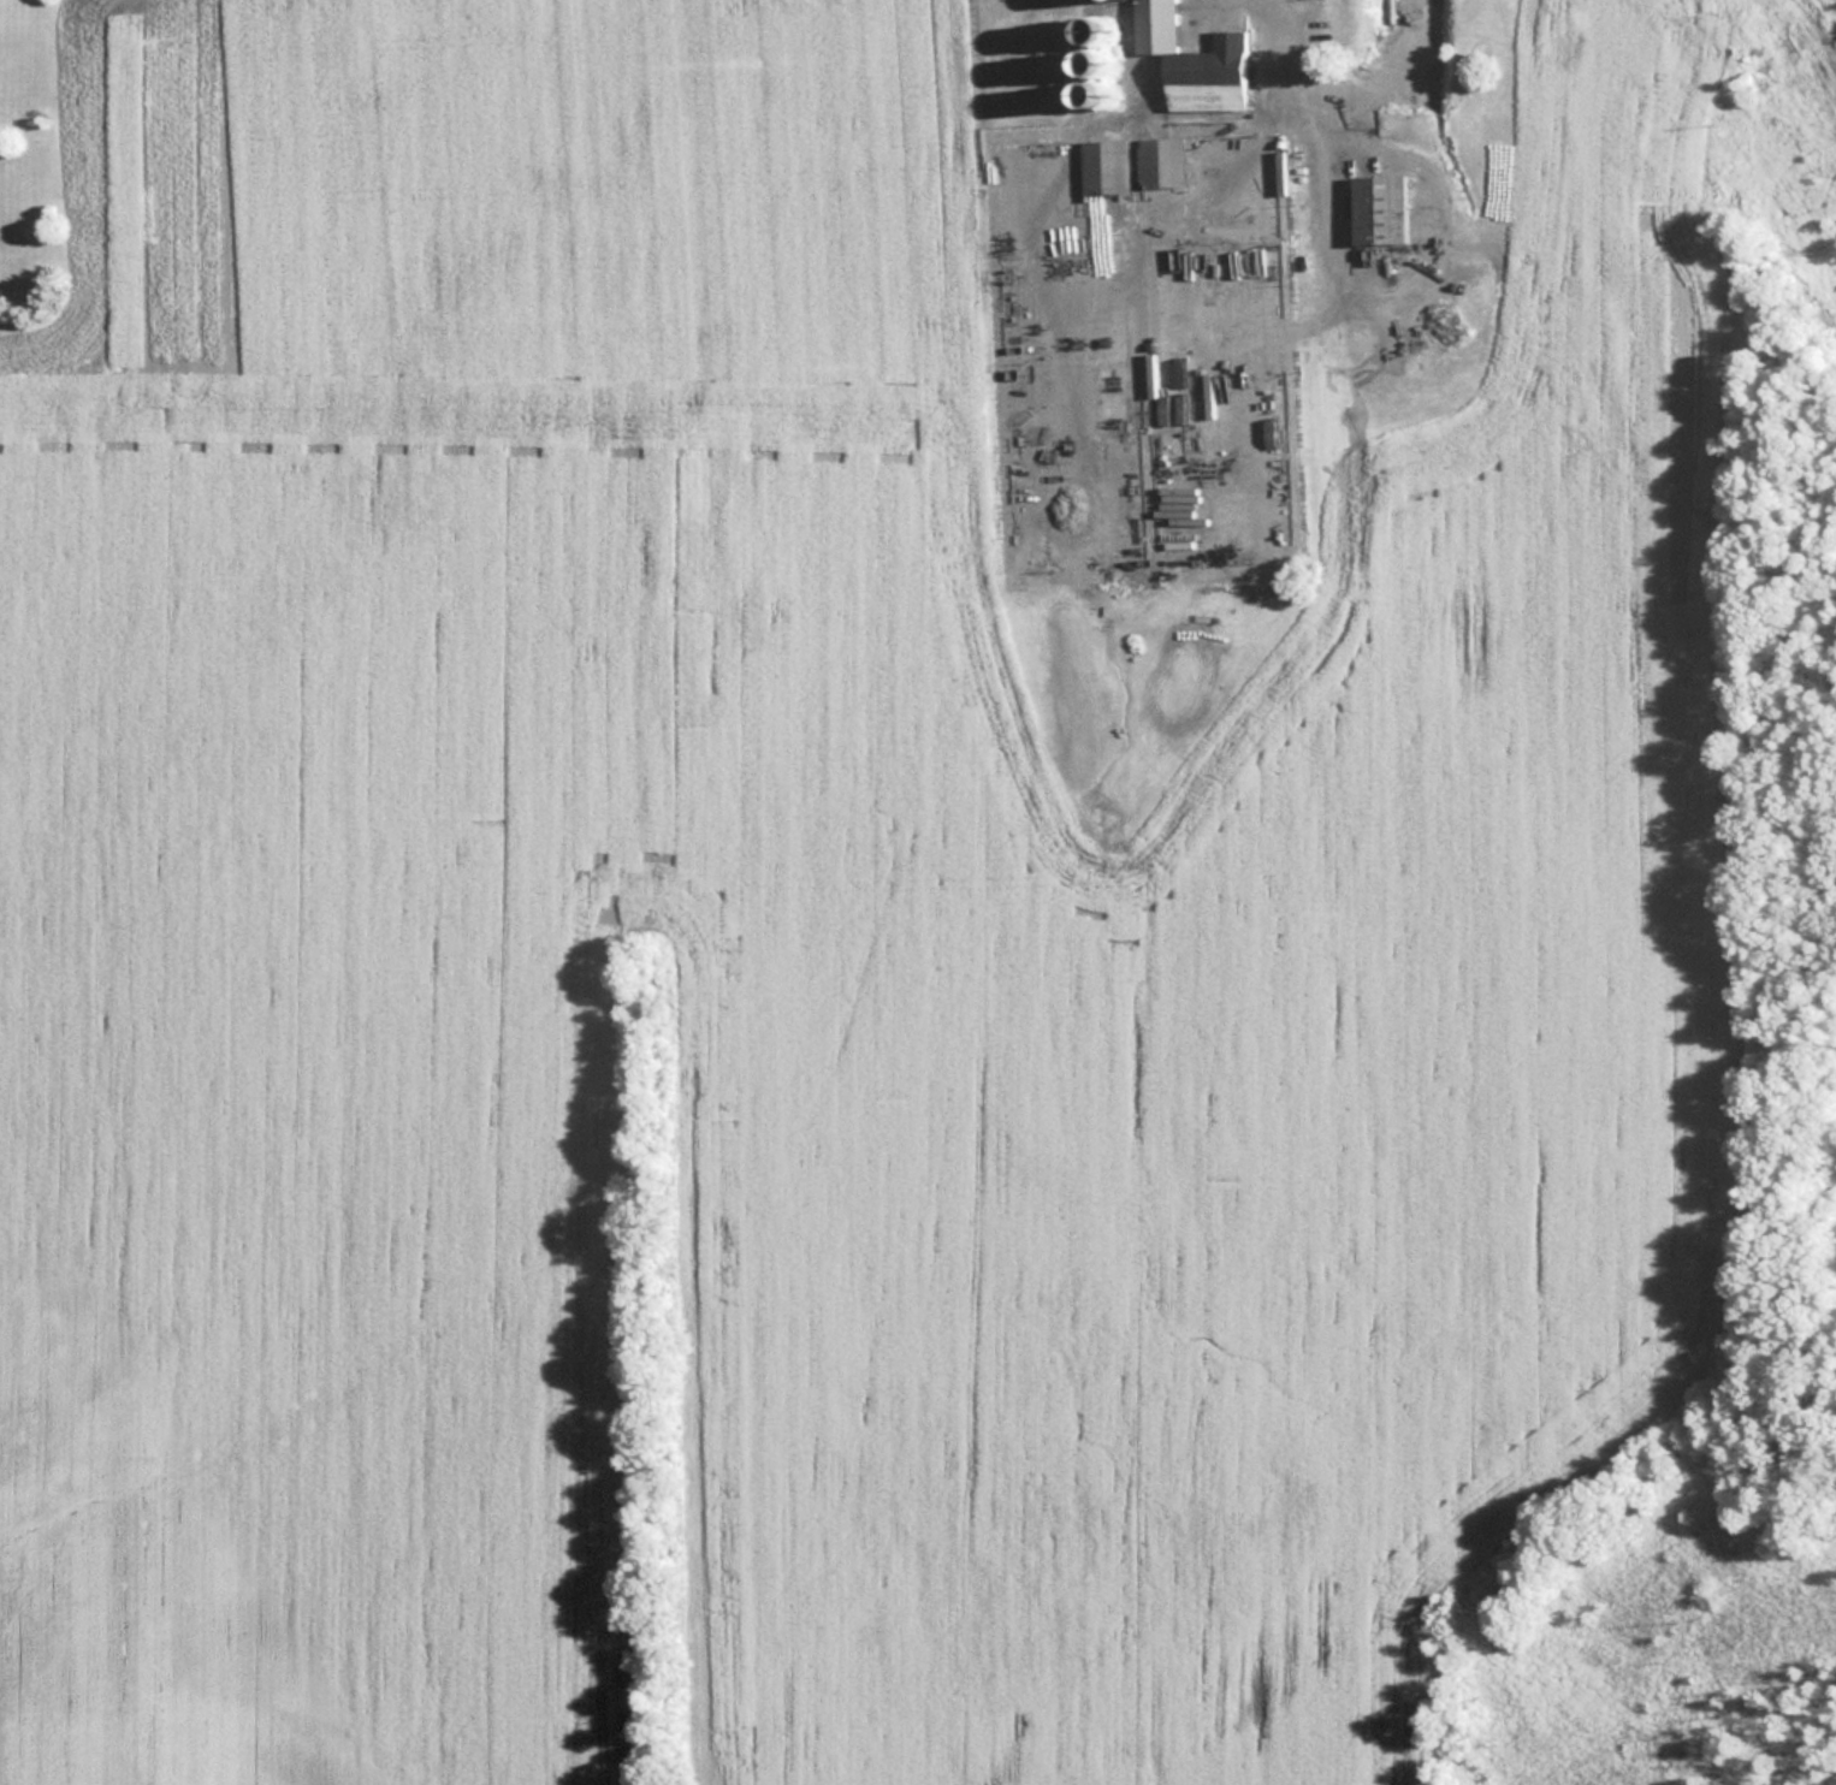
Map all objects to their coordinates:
road: (1281, 14)
building: (1198, 64)
road: (1311, 143)
building: (1163, 171)
building: (1107, 172)
building: (1382, 213)

